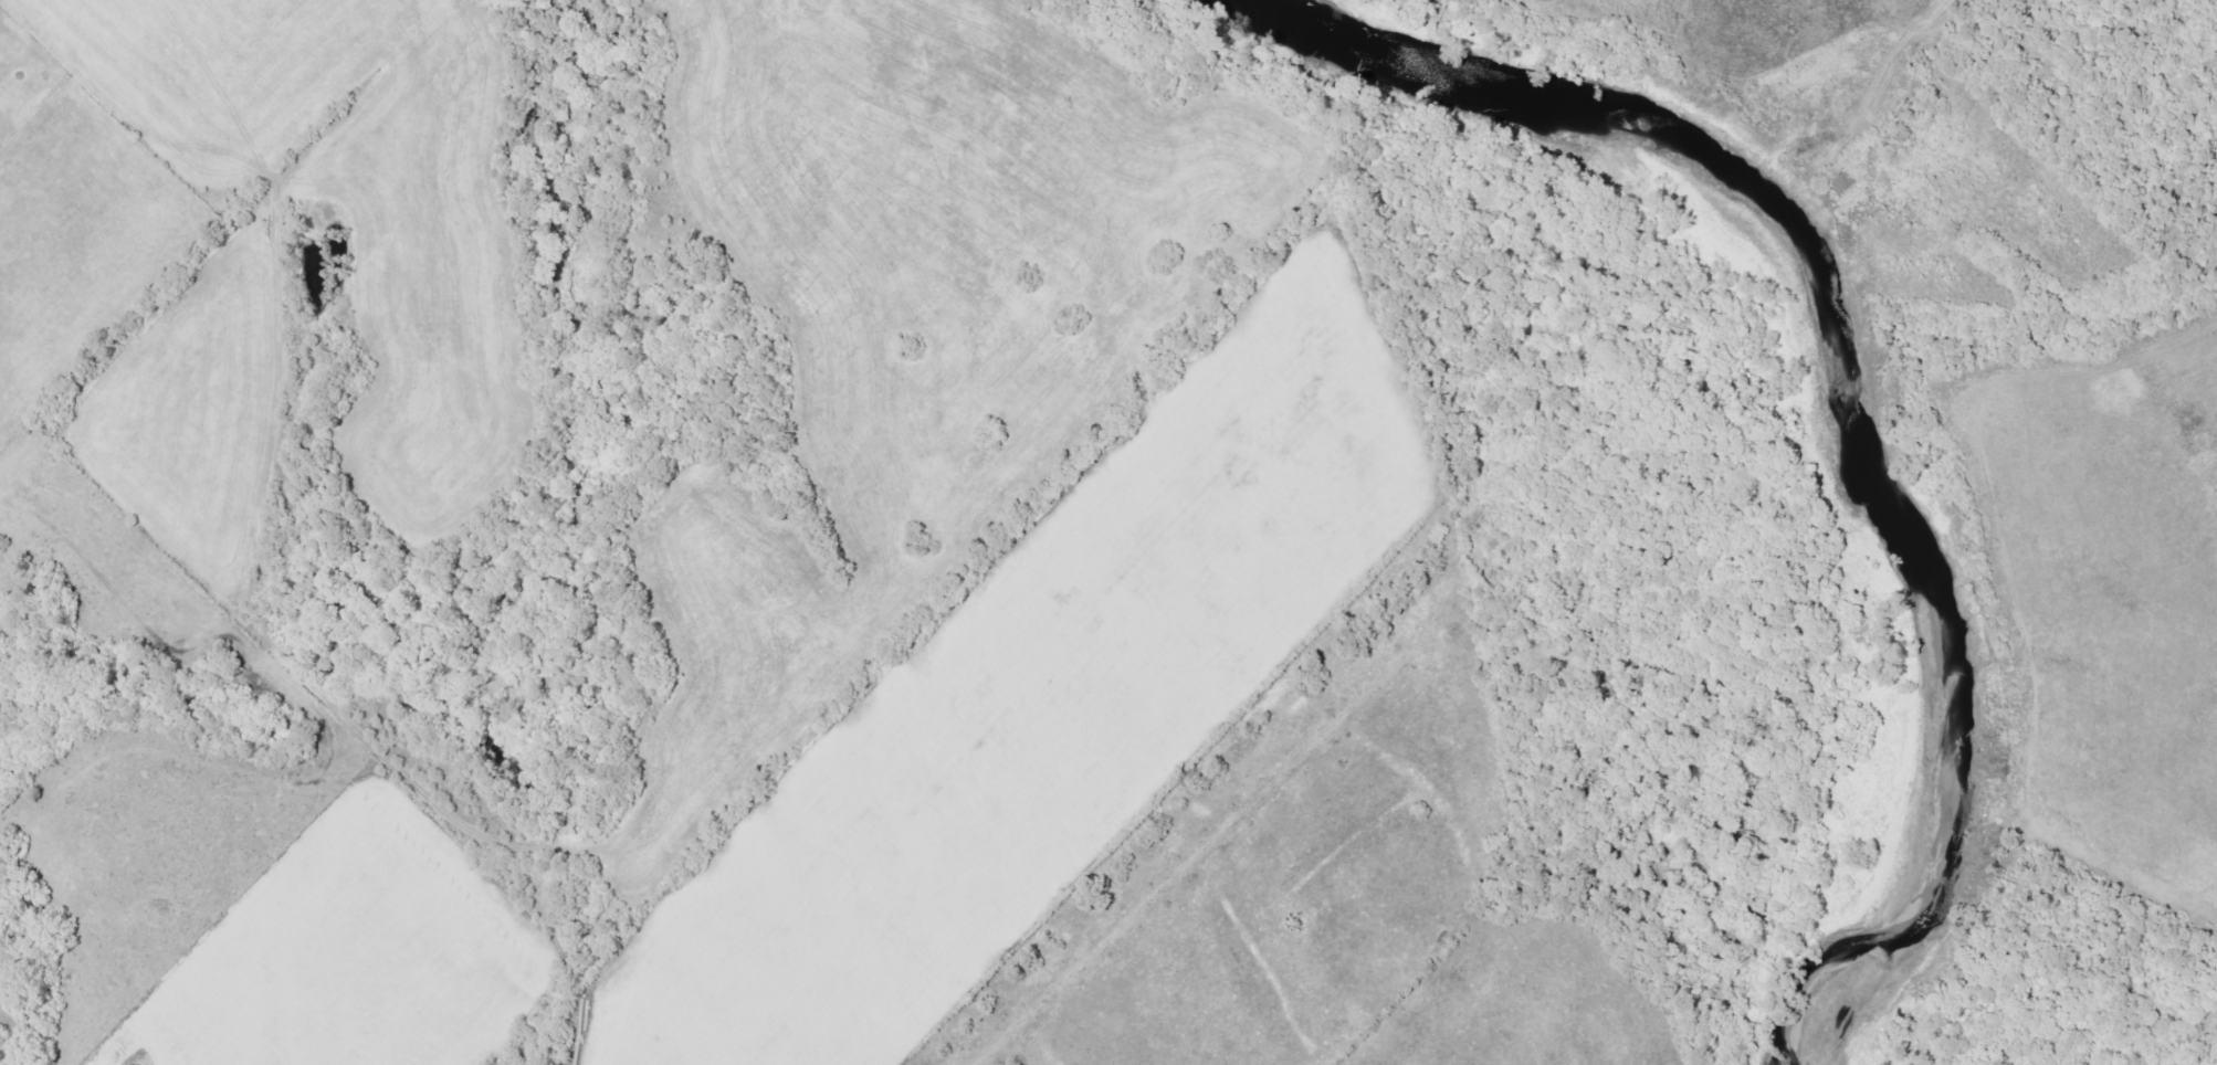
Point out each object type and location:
road: (1916, 78)

